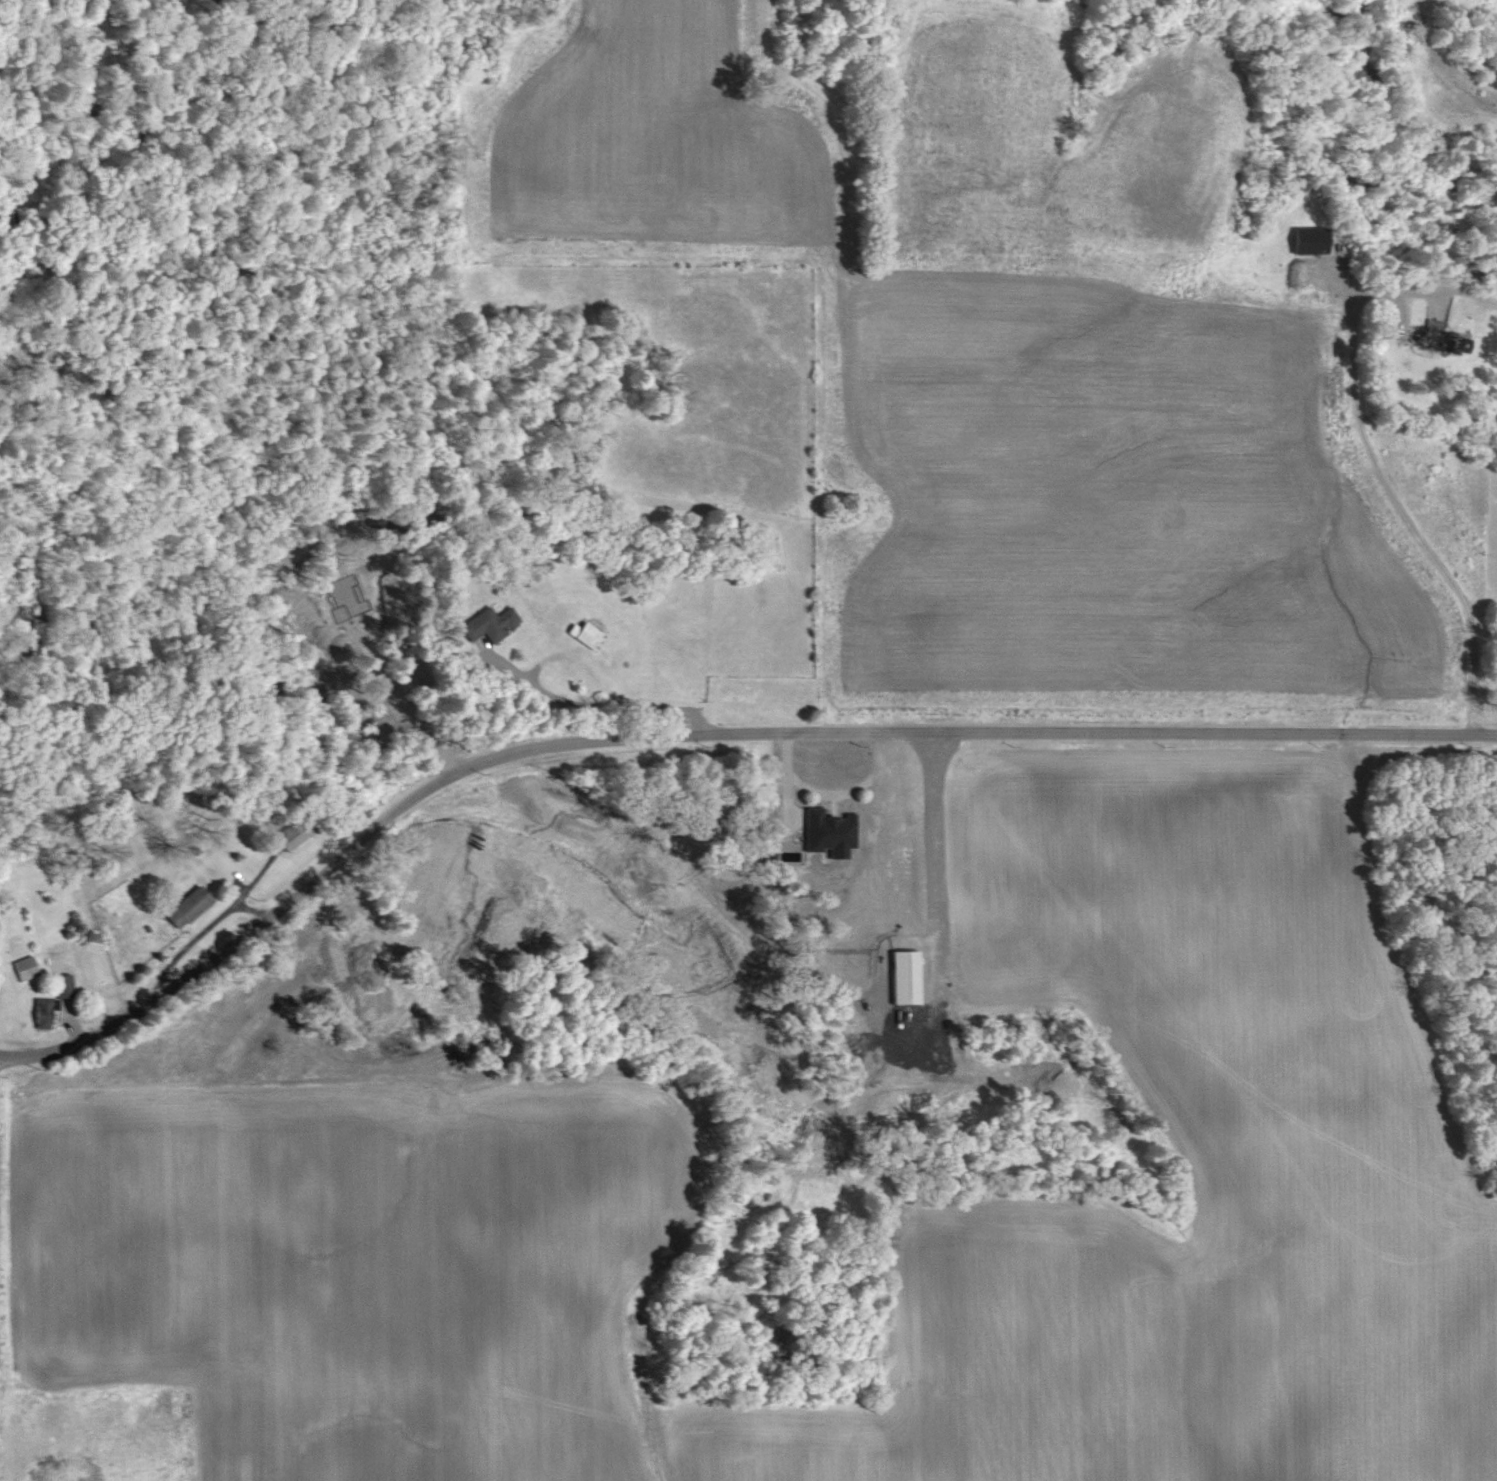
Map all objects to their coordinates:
building: (1316, 240)
building: (1442, 335)
road: (1371, 461)
building: (491, 624)
road: (587, 707)
road: (700, 732)
building: (833, 832)
building: (193, 907)
building: (30, 968)
building: (910, 977)
building: (50, 1013)

